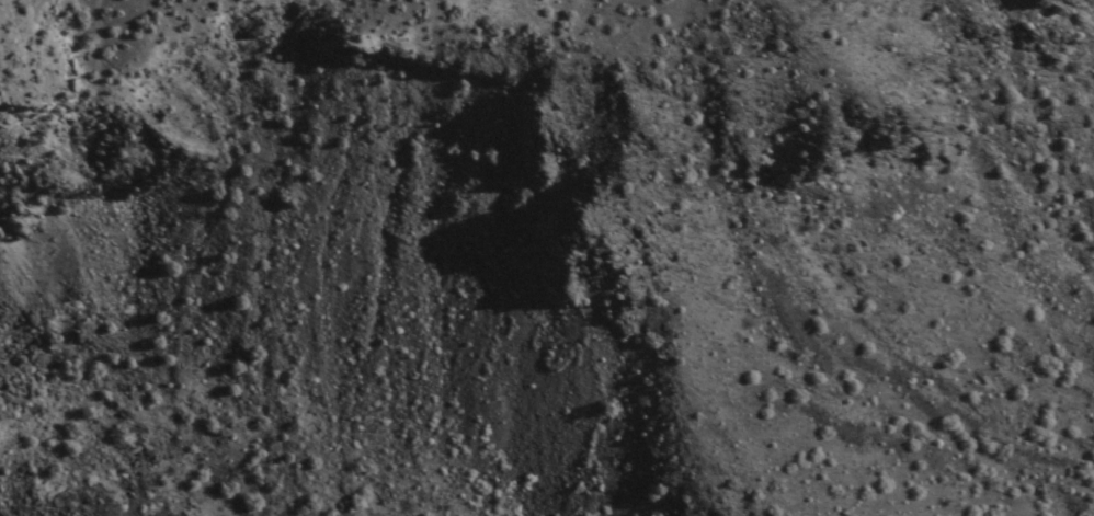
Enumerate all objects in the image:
road: (47, 98)

